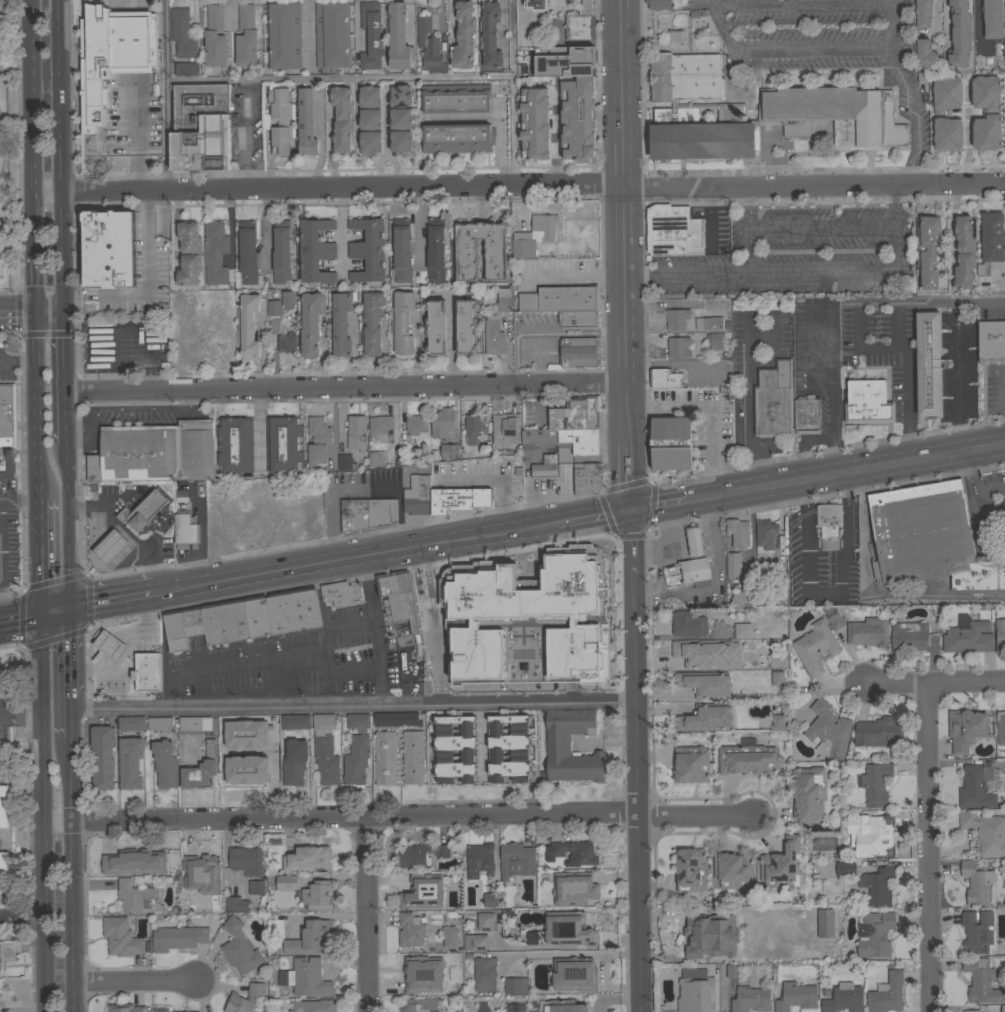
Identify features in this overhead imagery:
road: (887, 1)
road: (711, 2)
road: (552, 3)
road: (800, 3)
building: (535, 4)
building: (660, 4)
building: (586, 7)
building: (455, 11)
building: (922, 13)
building: (993, 19)
road: (357, 25)
road: (976, 26)
building: (580, 27)
building: (1002, 30)
road: (307, 32)
building: (182, 33)
building: (949, 33)
building: (491, 34)
building: (960, 34)
building: (283, 35)
building: (332, 35)
building: (371, 35)
building: (246, 36)
building: (464, 36)
building: (214, 37)
building: (398, 37)
building: (428, 45)
building: (984, 47)
road: (786, 51)
building: (924, 53)
building: (112, 55)
building: (573, 59)
building: (186, 68)
road: (339, 79)
road: (908, 90)
building: (976, 93)
road: (514, 94)
road: (165, 95)
building: (329, 95)
building: (401, 95)
building: (370, 96)
building: (456, 98)
building: (825, 106)
building: (342, 118)
building: (401, 118)
building: (371, 119)
building: (577, 119)
building: (281, 120)
building: (306, 122)
road: (385, 123)
building: (535, 123)
road: (31, 126)
building: (200, 127)
building: (946, 129)
building: (977, 133)
building: (331, 137)
building: (457, 137)
road: (246, 138)
road: (320, 139)
building: (402, 141)
building: (370, 142)
building: (296, 145)
building: (354, 148)
road: (0, 151)
park: (8, 152)
road: (60, 156)
road: (395, 169)
road: (376, 170)
road: (518, 188)
road: (622, 223)
road: (265, 226)
road: (418, 230)
building: (673, 230)
road: (743, 230)
road: (818, 231)
road: (341, 233)
building: (1004, 234)
building: (533, 235)
building: (990, 240)
building: (109, 248)
building: (272, 249)
building: (368, 249)
building: (495, 249)
building: (316, 250)
building: (401, 250)
building: (435, 250)
building: (918, 251)
building: (928, 251)
building: (282, 252)
building: (953, 252)
building: (964, 252)
building: (189, 253)
building: (393, 253)
building: (215, 255)
building: (248, 260)
road: (143, 261)
building: (1004, 271)
road: (804, 275)
road: (573, 276)
road: (34, 283)
building: (504, 298)
building: (560, 298)
building: (287, 299)
building: (273, 308)
road: (49, 313)
traffic signals: (63, 313)
road: (17, 314)
traffic signals: (35, 314)
building: (238, 318)
building: (677, 318)
building: (577, 319)
building: (372, 322)
building: (311, 323)
building: (400, 323)
building: (707, 323)
building: (340, 324)
building: (725, 325)
building: (248, 326)
building: (433, 327)
building: (464, 327)
building: (493, 334)
road: (35, 337)
building: (362, 337)
building: (714, 341)
building: (991, 341)
building: (287, 342)
building: (678, 348)
building: (578, 351)
road: (902, 351)
road: (64, 352)
road: (960, 352)
road: (18, 360)
building: (927, 365)
building: (665, 378)
road: (345, 387)
road: (824, 389)
building: (773, 400)
road: (750, 401)
building: (867, 402)
road: (715, 404)
building: (575, 414)
building: (7, 415)
road: (65, 416)
building: (804, 416)
building: (443, 422)
building: (416, 424)
building: (471, 426)
building: (379, 427)
building: (506, 428)
road: (37, 430)
building: (356, 432)
building: (318, 440)
building: (421, 440)
building: (581, 440)
building: (671, 443)
building: (235, 444)
building: (284, 444)
road: (802, 445)
building: (449, 450)
building: (154, 452)
building: (548, 455)
building: (374, 459)
building: (6, 462)
building: (345, 462)
road: (844, 471)
road: (471, 477)
road: (626, 477)
building: (588, 479)
road: (361, 486)
road: (972, 487)
building: (416, 496)
building: (179, 498)
building: (457, 499)
road: (19, 500)
road: (656, 503)
road: (847, 503)
road: (502, 504)
building: (180, 505)
road: (531, 507)
road: (803, 507)
traffic signals: (630, 508)
building: (142, 511)
building: (382, 513)
road: (593, 514)
building: (355, 515)
building: (828, 519)
road: (977, 520)
road: (67, 524)
building: (184, 529)
building: (738, 532)
building: (920, 532)
building: (765, 533)
road: (630, 541)
road: (665, 541)
gas station: (694, 541)
road: (983, 544)
gas station: (109, 547)
road: (39, 556)
road: (354, 558)
building: (762, 561)
building: (733, 565)
road: (805, 565)
building: (693, 570)
road: (668, 571)
building: (981, 574)
road: (841, 582)
road: (718, 585)
building: (337, 592)
road: (8, 593)
building: (740, 597)
building: (397, 599)
road: (111, 601)
road: (0, 607)
traffic signals: (70, 608)
road: (55, 610)
traffic signals: (41, 613)
road: (20, 615)
building: (833, 615)
building: (244, 619)
building: (527, 619)
building: (688, 622)
road: (427, 626)
road: (340, 627)
building: (742, 630)
road: (374, 631)
building: (868, 631)
building: (968, 635)
building: (1000, 635)
building: (913, 637)
gas station: (109, 645)
building: (99, 646)
building: (815, 646)
road: (72, 651)
building: (685, 651)
building: (714, 655)
building: (722, 662)
road: (258, 663)
building: (146, 671)
building: (777, 678)
building: (705, 684)
road: (936, 688)
road: (353, 706)
road: (42, 717)
road: (73, 717)
building: (705, 717)
road: (21, 718)
building: (396, 718)
building: (295, 721)
building: (778, 721)
building: (233, 722)
building: (264, 722)
building: (131, 723)
building: (161, 724)
building: (195, 725)
building: (1000, 727)
building: (966, 728)
building: (828, 730)
building: (879, 732)
road: (482, 737)
building: (557, 742)
building: (325, 748)
building: (454, 748)
building: (508, 748)
building: (357, 750)
building: (103, 756)
building: (385, 757)
building: (412, 757)
building: (749, 759)
building: (294, 761)
building: (130, 762)
building: (232, 762)
building: (266, 762)
building: (165, 763)
building: (691, 763)
building: (200, 768)
building: (876, 783)
building: (976, 787)
road: (634, 793)
building: (807, 793)
building: (3, 806)
road: (339, 816)
road: (693, 817)
building: (986, 832)
building: (880, 839)
road: (928, 850)
building: (571, 852)
building: (421, 854)
building: (308, 858)
road: (225, 859)
building: (479, 859)
building: (516, 860)
building: (133, 861)
building: (246, 861)
building: (3, 864)
building: (781, 865)
building: (845, 868)
building: (690, 869)
building: (732, 869)
building: (201, 874)
road: (75, 875)
building: (286, 882)
building: (977, 883)
building: (877, 886)
building: (573, 887)
building: (255, 888)
building: (422, 892)
building: (134, 896)
building: (317, 896)
building: (490, 899)
building: (234, 905)
road: (365, 914)
road: (45, 917)
road: (23, 919)
building: (486, 921)
building: (567, 928)
building: (411, 930)
building: (977, 931)
building: (875, 934)
building: (121, 936)
building: (450, 936)
building: (178, 937)
building: (311, 938)
building: (475, 941)
building: (697, 942)
building: (239, 949)
building: (733, 970)
building: (423, 973)
building: (485, 973)
building: (576, 974)
building: (308, 977)
building: (981, 980)
road: (137, 981)
building: (516, 985)
building: (694, 992)
building: (887, 993)
road: (725, 996)
building: (795, 996)
building: (245, 998)
building: (844, 998)
building: (751, 999)
building: (422, 1005)
building: (314, 1006)
building: (564, 1006)
building: (125, 1008)
building: (1003, 1008)
building: (160, 1009)
building: (188, 1011)
building: (196, 1011)
building: (971, 1011)

